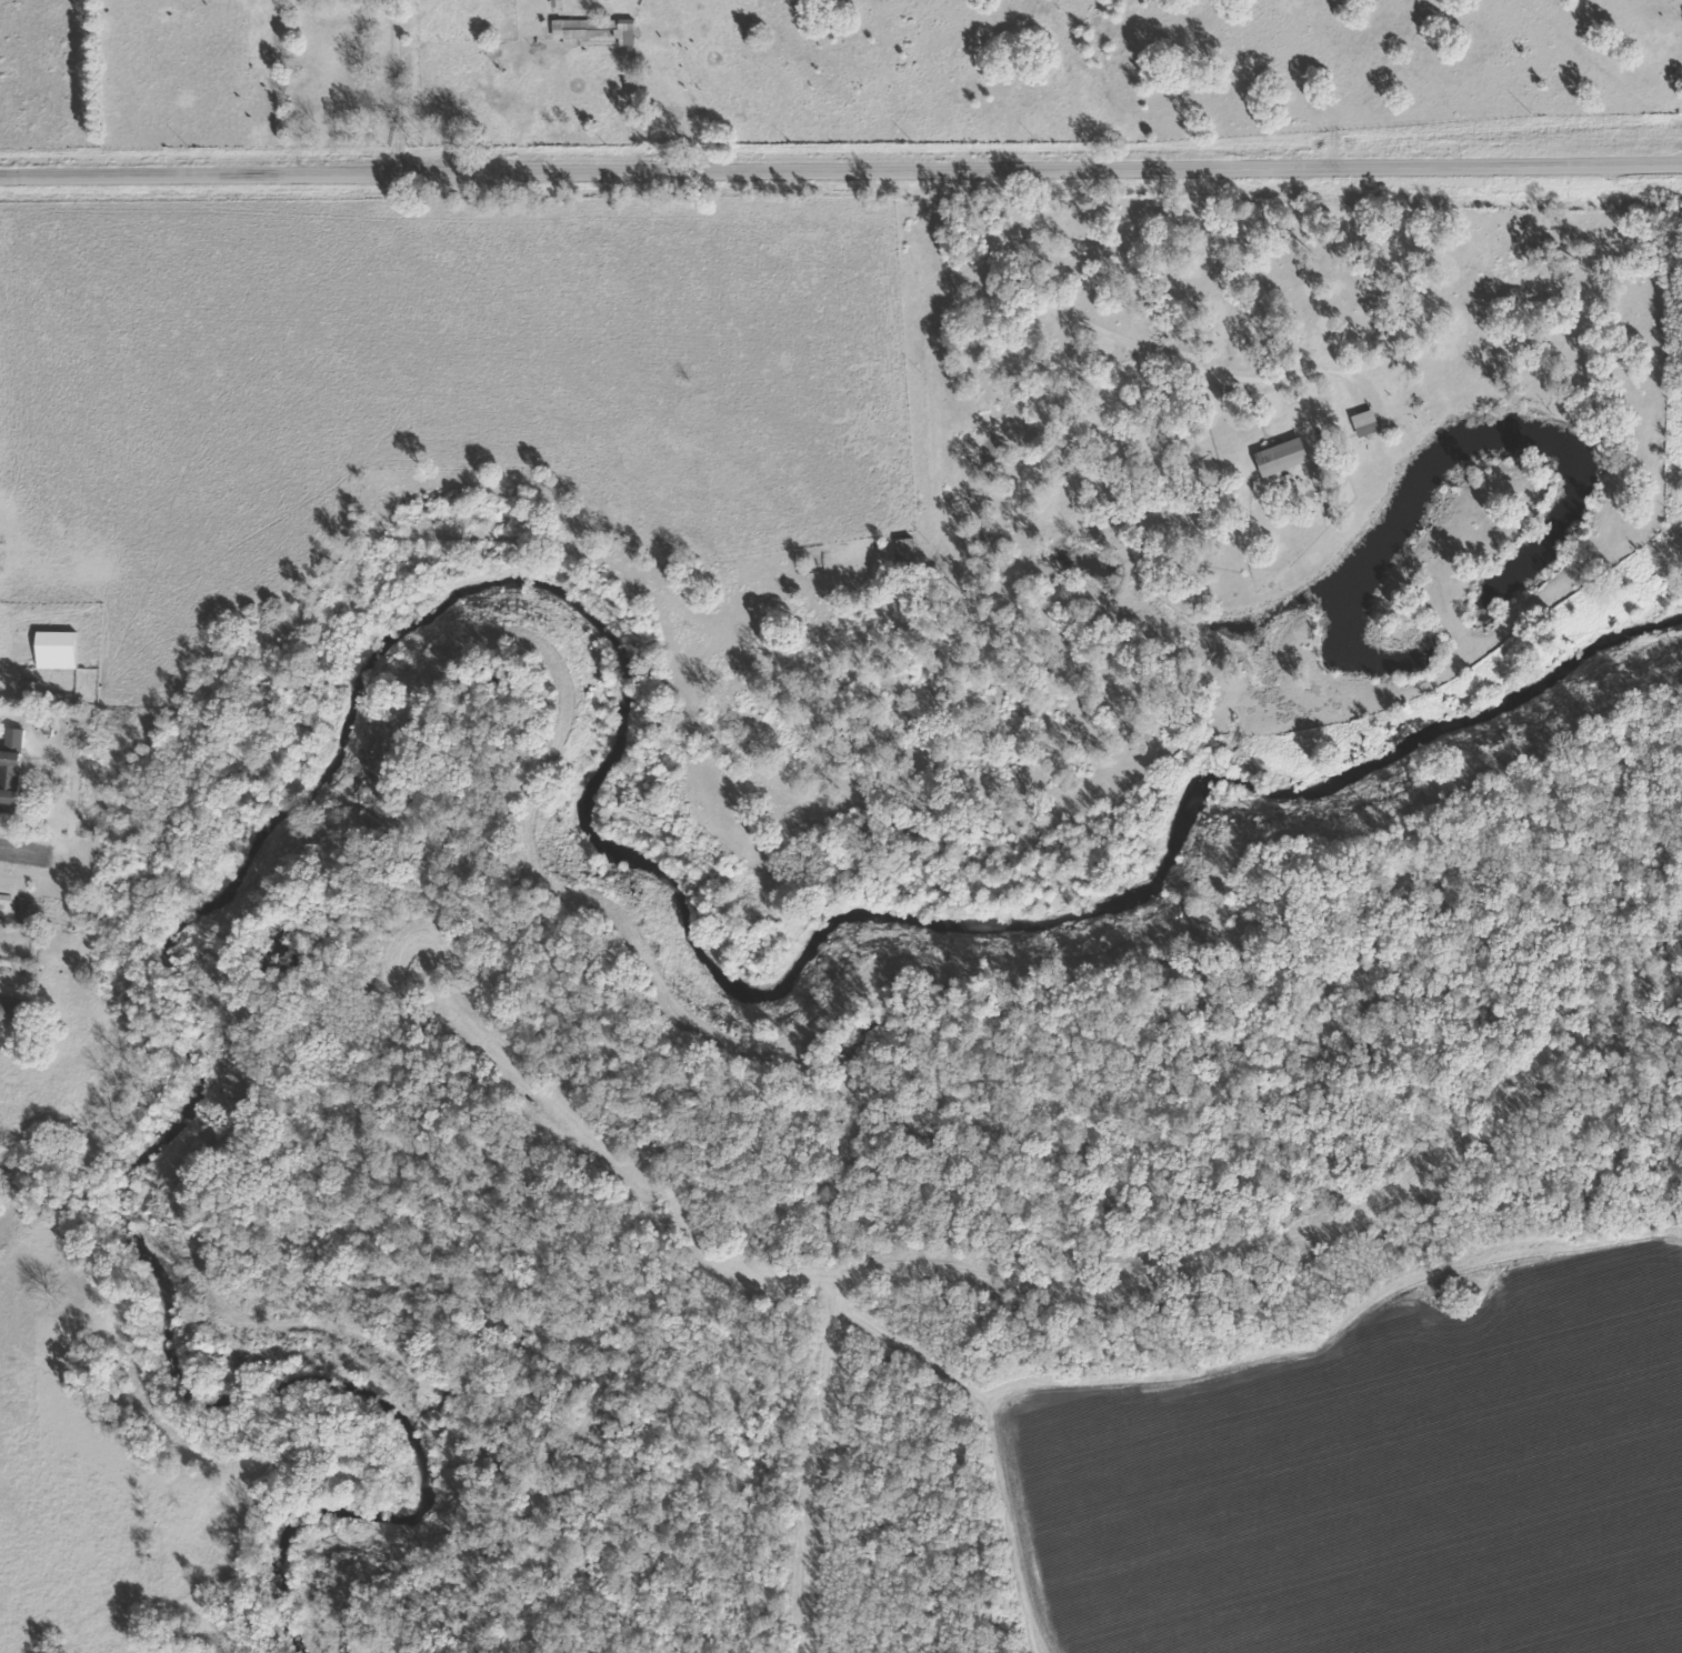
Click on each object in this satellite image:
building: (573, 36)
road: (841, 170)
road: (1230, 302)
building: (1369, 424)
building: (1285, 458)
road: (17, 511)
building: (910, 554)
river: (560, 631)
building: (60, 651)
building: (13, 772)
building: (10, 1012)
road: (1054, 1276)
road: (791, 1454)

